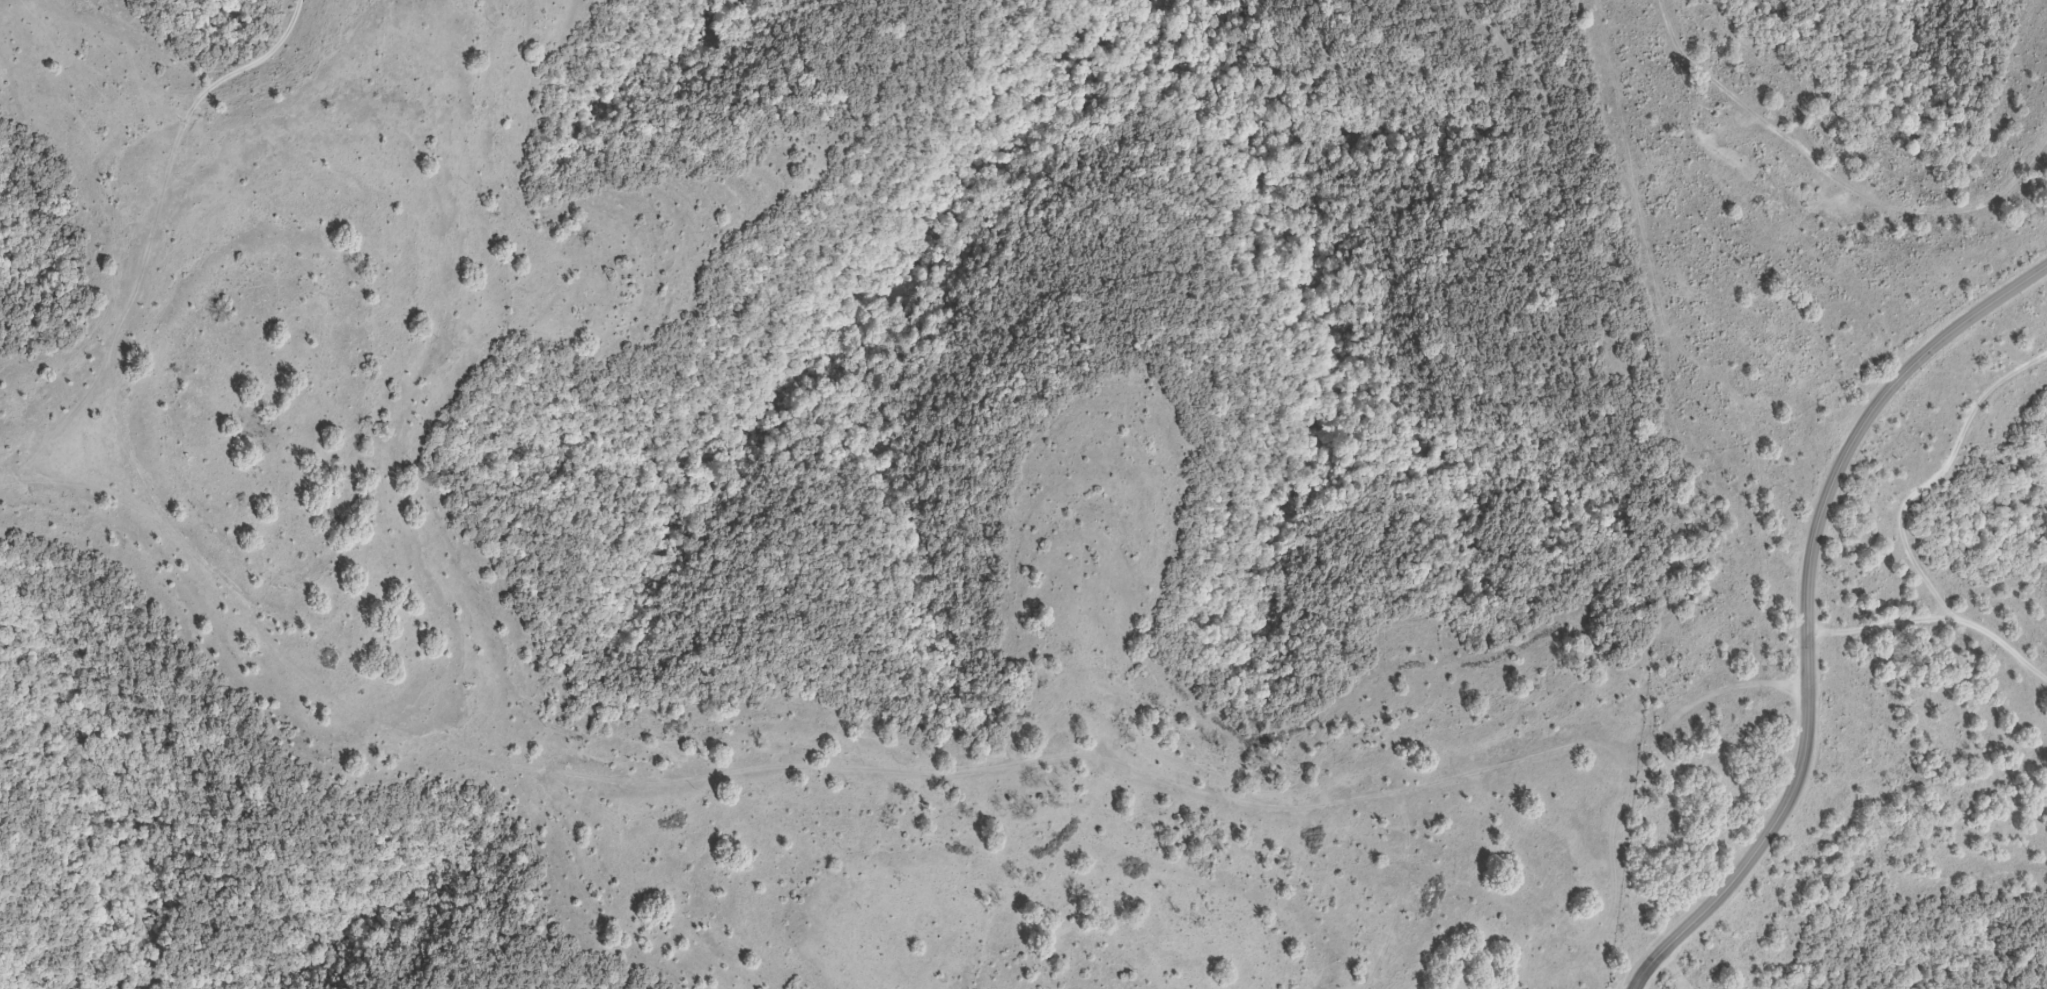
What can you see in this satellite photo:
road: (12, 481)
road: (1806, 591)
road: (1643, 975)

